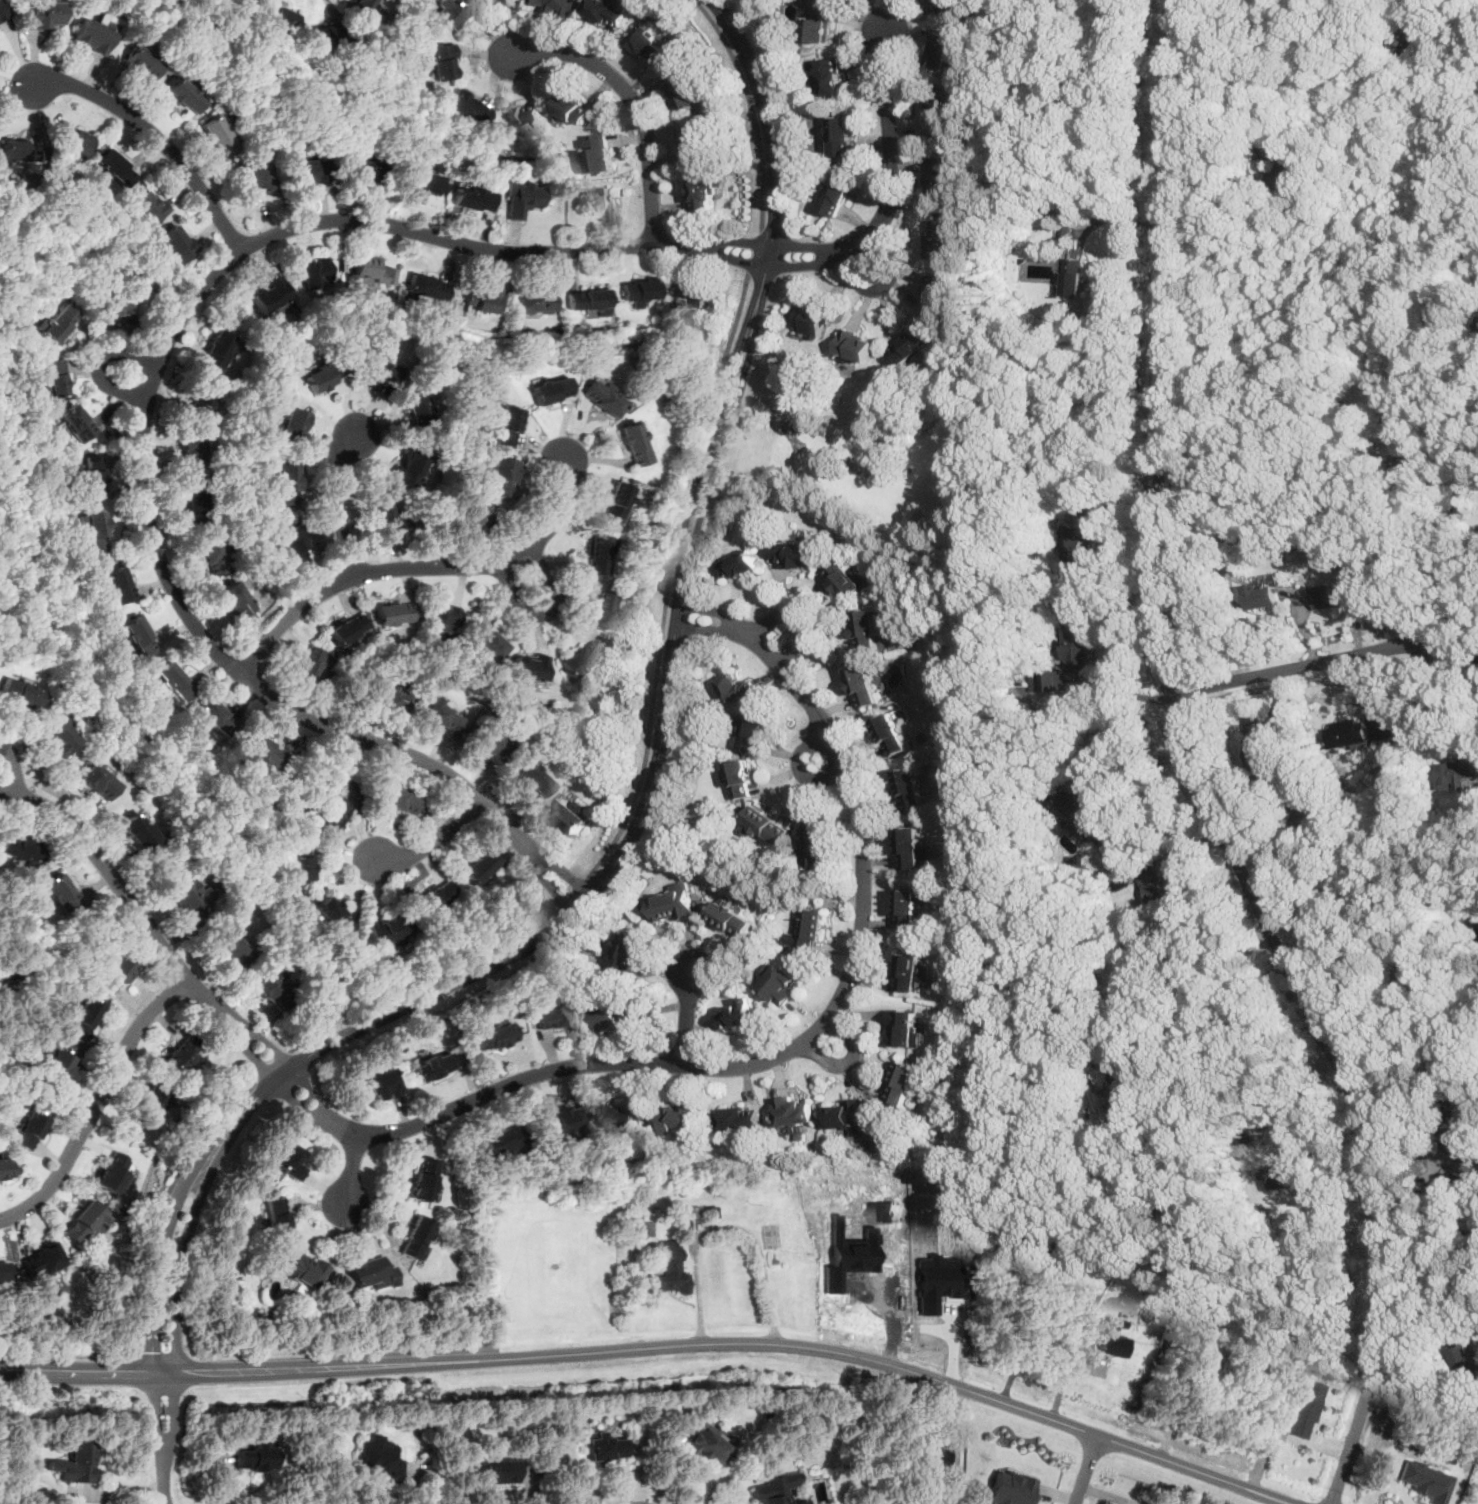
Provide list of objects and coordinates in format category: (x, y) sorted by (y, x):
road: (1399, 1)
building: (556, 5)
building: (944, 5)
building: (362, 6)
building: (2, 11)
building: (453, 11)
building: (608, 11)
building: (40, 14)
building: (279, 16)
building: (817, 22)
building: (94, 32)
building: (1408, 33)
building: (322, 34)
building: (649, 42)
building: (942, 51)
building: (441, 61)
building: (141, 62)
building: (829, 75)
building: (683, 87)
building: (186, 94)
road: (633, 99)
building: (469, 107)
building: (574, 107)
road: (752, 107)
building: (939, 112)
building: (524, 114)
road: (390, 126)
building: (840, 134)
building: (219, 135)
road: (154, 136)
building: (72, 140)
building: (697, 143)
building: (20, 150)
building: (598, 153)
building: (1281, 164)
building: (114, 167)
building: (358, 171)
building: (308, 173)
building: (941, 175)
building: (253, 178)
road: (890, 183)
building: (417, 184)
building: (704, 192)
building: (836, 193)
building: (520, 198)
building: (470, 200)
building: (603, 201)
building: (148, 206)
road: (1121, 214)
building: (939, 237)
building: (175, 243)
road: (757, 250)
road: (100, 263)
building: (370, 272)
building: (314, 274)
road: (3, 276)
building: (1072, 276)
road: (881, 284)
building: (426, 287)
building: (637, 290)
building: (938, 291)
building: (690, 293)
building: (269, 296)
building: (482, 300)
building: (587, 300)
building: (532, 302)
building: (112, 305)
building: (810, 320)
building: (56, 323)
building: (855, 343)
building: (910, 344)
building: (214, 351)
road: (98, 365)
building: (378, 370)
building: (322, 376)
building: (52, 379)
building: (550, 390)
building: (602, 397)
road: (146, 399)
building: (200, 399)
building: (415, 404)
building: (1398, 413)
building: (75, 422)
building: (291, 426)
building: (506, 426)
building: (634, 443)
building: (190, 448)
building: (407, 467)
building: (90, 475)
building: (501, 476)
building: (286, 483)
building: (616, 501)
road: (334, 502)
building: (194, 503)
building: (470, 516)
building: (383, 521)
building: (93, 530)
building: (1080, 542)
building: (292, 546)
road: (1430, 546)
building: (795, 552)
building: (211, 553)
building: (597, 555)
building: (739, 563)
road: (420, 567)
road: (668, 575)
building: (845, 577)
building: (118, 585)
building: (1261, 594)
building: (1324, 594)
building: (234, 601)
road: (1453, 607)
building: (603, 612)
building: (393, 614)
road: (544, 614)
building: (442, 617)
road: (796, 618)
building: (868, 629)
building: (346, 630)
building: (136, 635)
building: (486, 641)
building: (1077, 641)
road: (1326, 657)
building: (579, 659)
building: (308, 665)
building: (529, 666)
building: (173, 682)
building: (863, 684)
building: (735, 686)
building: (1051, 686)
building: (19, 693)
building: (389, 698)
building: (441, 714)
building: (213, 715)
building: (752, 729)
road: (137, 731)
building: (1349, 731)
building: (892, 733)
building: (59, 735)
building: (1255, 740)
building: (490, 744)
building: (261, 750)
road: (1123, 765)
road: (11, 767)
road: (801, 768)
building: (1456, 770)
road: (1198, 773)
building: (741, 776)
building: (534, 777)
building: (98, 780)
building: (911, 787)
building: (399, 798)
building: (572, 811)
building: (333, 815)
building: (1084, 815)
building: (767, 825)
building: (139, 831)
road: (429, 842)
building: (818, 846)
building: (912, 846)
road: (623, 847)
building: (19, 848)
building: (299, 864)
building: (479, 867)
building: (1152, 882)
road: (571, 892)
building: (60, 893)
road: (121, 896)
building: (437, 897)
building: (190, 898)
building: (674, 901)
building: (909, 907)
building: (732, 915)
building: (331, 916)
building: (386, 930)
building: (807, 930)
building: (230, 950)
building: (628, 950)
building: (911, 970)
building: (115, 975)
road: (420, 981)
building: (780, 981)
building: (1415, 983)
building: (271, 985)
road: (689, 1012)
building: (616, 1013)
building: (739, 1013)
building: (554, 1014)
building: (82, 1019)
building: (903, 1026)
building: (492, 1036)
building: (180, 1054)
road: (849, 1058)
road: (594, 1062)
road: (1230, 1065)
road: (271, 1066)
building: (431, 1066)
building: (54, 1068)
road: (1404, 1071)
building: (902, 1081)
building: (382, 1084)
road: (93, 1102)
building: (1125, 1103)
building: (150, 1104)
building: (793, 1111)
building: (848, 1114)
building: (623, 1116)
building: (741, 1116)
building: (680, 1117)
building: (559, 1122)
building: (29, 1130)
building: (501, 1140)
building: (1465, 1158)
building: (288, 1160)
road: (351, 1170)
building: (111, 1171)
building: (1, 1172)
building: (1278, 1175)
building: (421, 1178)
road: (160, 1200)
building: (688, 1213)
building: (277, 1217)
building: (84, 1223)
road: (726, 1224)
building: (644, 1229)
building: (414, 1237)
road: (1432, 1237)
building: (998, 1248)
building: (42, 1260)
building: (301, 1268)
building: (670, 1269)
building: (2, 1273)
building: (369, 1273)
building: (936, 1282)
building: (1111, 1338)
road: (1014, 1341)
road: (656, 1349)
building: (1464, 1356)
building: (1208, 1359)
road: (1064, 1375)
road: (1177, 1407)
building: (1304, 1409)
building: (706, 1444)
building: (605, 1447)
building: (256, 1456)
building: (380, 1458)
building: (935, 1458)
building: (75, 1462)
building: (497, 1470)
road: (1085, 1470)
building: (1424, 1481)
road: (729, 1484)
building: (774, 1488)
building: (1006, 1490)

